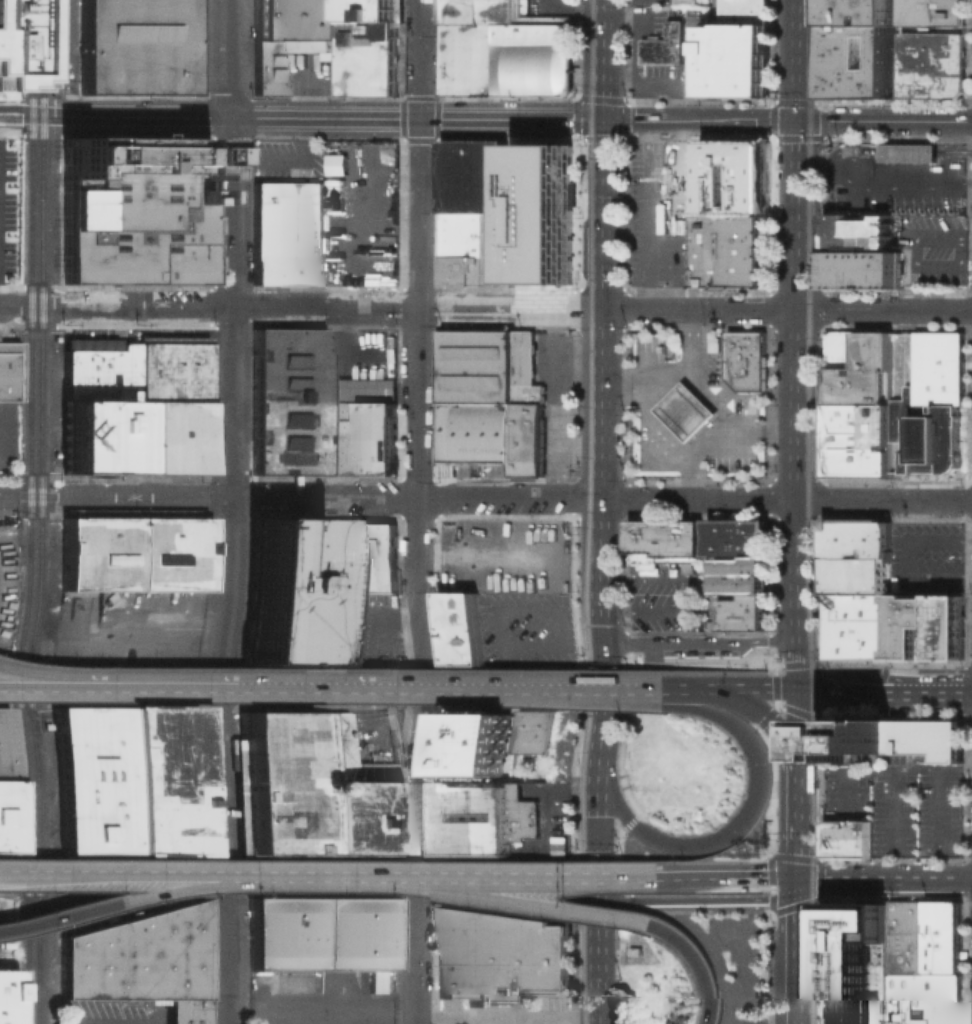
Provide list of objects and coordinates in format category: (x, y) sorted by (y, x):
parking lot: (650, 3)
parking lot: (546, 8)
road: (569, 9)
building: (370, 10)
building: (859, 11)
building: (931, 12)
road: (628, 23)
building: (292, 37)
building: (9, 44)
building: (478, 44)
building: (664, 46)
building: (135, 47)
building: (737, 50)
parking lot: (693, 51)
road: (633, 52)
building: (370, 57)
road: (228, 58)
building: (537, 60)
building: (859, 60)
building: (930, 64)
road: (657, 82)
railway: (817, 83)
road: (646, 101)
road: (301, 117)
traffic signals: (603, 120)
road: (651, 120)
road: (749, 120)
traffic signals: (799, 120)
road: (885, 120)
road: (847, 150)
road: (909, 150)
road: (954, 150)
building: (909, 152)
road: (420, 154)
road: (603, 157)
parking lot: (665, 158)
parking lot: (287, 160)
road: (287, 162)
building: (641, 163)
building: (473, 176)
building: (735, 176)
road: (815, 176)
road: (902, 181)
railway: (579, 190)
parking lot: (856, 203)
parking lot: (10, 209)
building: (135, 210)
road: (229, 212)
building: (541, 212)
road: (646, 214)
road: (672, 214)
building: (661, 218)
building: (860, 231)
building: (287, 232)
road: (965, 238)
road: (698, 245)
building: (476, 248)
road: (601, 248)
building: (734, 249)
parking lot: (933, 249)
road: (913, 263)
building: (862, 269)
road: (449, 308)
road: (935, 310)
parking lot: (644, 342)
road: (797, 344)
road: (898, 354)
building: (747, 360)
parking lot: (552, 363)
building: (473, 365)
building: (134, 368)
building: (524, 368)
building: (938, 368)
parking lot: (711, 369)
building: (9, 370)
road: (672, 375)
road: (710, 400)
road: (416, 402)
building: (857, 403)
building: (685, 410)
gas station: (685, 410)
building: (317, 411)
road: (685, 411)
road: (897, 419)
road: (768, 432)
building: (473, 433)
building: (925, 433)
building: (98, 436)
building: (171, 436)
parking lot: (739, 437)
building: (527, 438)
parking lot: (556, 438)
road: (711, 438)
parking lot: (9, 440)
road: (673, 441)
road: (897, 470)
road: (300, 497)
road: (651, 498)
road: (836, 499)
railway: (29, 511)
railway: (40, 511)
railway: (589, 512)
railway: (807, 512)
building: (856, 527)
building: (501, 533)
building: (737, 536)
building: (664, 542)
building: (857, 543)
road: (416, 544)
building: (857, 553)
building: (133, 555)
parking lot: (927, 555)
road: (903, 559)
building: (742, 573)
building: (856, 575)
building: (312, 584)
road: (599, 595)
road: (695, 595)
building: (755, 595)
building: (840, 602)
parking lot: (656, 605)
road: (492, 613)
building: (744, 614)
building: (928, 614)
building: (841, 620)
building: (873, 625)
road: (689, 627)
parking lot: (135, 628)
parking lot: (369, 628)
building: (456, 629)
parking lot: (521, 630)
traffic signals: (599, 641)
road: (698, 642)
building: (906, 642)
building: (939, 642)
building: (954, 642)
building: (841, 643)
road: (226, 665)
road: (330, 670)
road: (493, 670)
road: (718, 673)
road: (27, 678)
road: (776, 682)
road: (27, 685)
road: (357, 686)
road: (754, 688)
traffic signals: (798, 688)
road: (844, 688)
road: (931, 688)
road: (686, 689)
road: (299, 690)
road: (740, 701)
road: (798, 728)
building: (529, 732)
parking lot: (377, 735)
road: (417, 739)
building: (893, 740)
road: (783, 742)
building: (474, 746)
railway: (569, 761)
road: (885, 770)
building: (8, 778)
building: (128, 779)
road: (607, 779)
building: (312, 785)
road: (597, 791)
road: (755, 792)
road: (845, 792)
parking lot: (901, 804)
road: (797, 807)
road: (936, 809)
road: (891, 810)
building: (481, 819)
railway: (822, 819)
parking lot: (547, 821)
road: (625, 828)
building: (840, 837)
building: (864, 837)
road: (619, 844)
road: (608, 855)
road: (797, 862)
road: (122, 871)
road: (333, 876)
road: (541, 877)
road: (728, 877)
traffic signals: (797, 878)
road: (834, 878)
road: (921, 878)
road: (298, 887)
traffic signals: (597, 892)
road: (121, 899)
road: (701, 903)
road: (535, 905)
road: (685, 920)
building: (323, 931)
building: (898, 937)
building: (916, 938)
building: (944, 938)
road: (796, 951)
building: (456, 953)
building: (495, 954)
road: (415, 955)
building: (542, 955)
road: (597, 958)
road: (715, 958)
parking lot: (731, 958)
building: (141, 961)
road: (697, 962)
building: (855, 962)
road: (738, 987)
building: (7, 995)
parking lot: (323, 996)
building: (901, 999)
building: (937, 999)
parking lot: (547, 1010)
road: (411, 1020)

